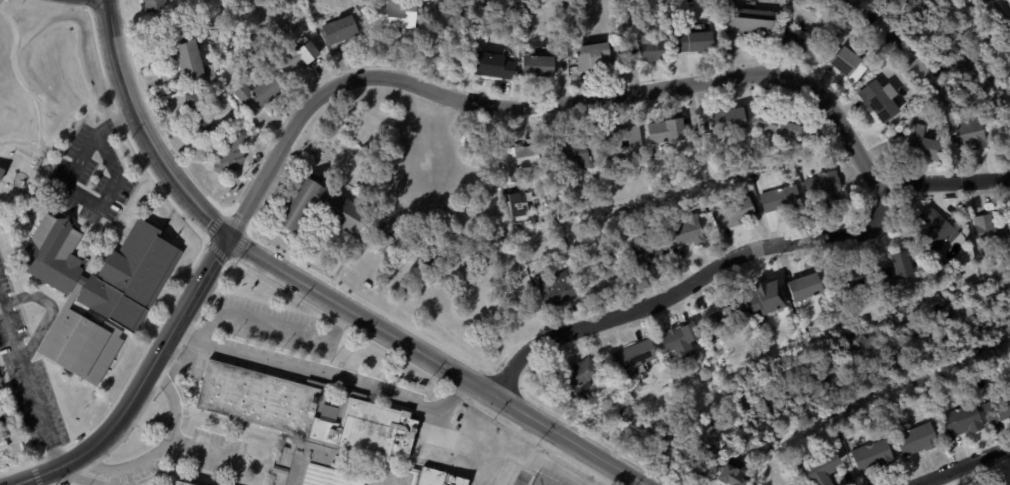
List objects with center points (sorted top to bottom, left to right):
building: (153, 5)
building: (396, 14)
building: (747, 22)
building: (340, 31)
building: (799, 41)
building: (693, 42)
building: (645, 50)
building: (589, 55)
building: (184, 59)
building: (296, 59)
building: (847, 64)
building: (492, 66)
building: (536, 67)
building: (210, 73)
building: (257, 94)
building: (878, 102)
road: (562, 103)
building: (196, 115)
building: (727, 120)
building: (776, 129)
road: (144, 131)
building: (665, 132)
building: (899, 132)
building: (940, 132)
building: (970, 133)
building: (922, 145)
building: (619, 146)
building: (231, 153)
building: (571, 154)
building: (902, 155)
building: (515, 162)
road: (866, 163)
building: (36, 164)
building: (1, 172)
road: (945, 182)
building: (825, 189)
road: (74, 190)
building: (564, 191)
road: (255, 195)
building: (557, 199)
building: (779, 199)
building: (517, 203)
building: (732, 213)
building: (331, 215)
building: (938, 230)
building: (991, 230)
building: (685, 233)
building: (643, 258)
building: (897, 269)
building: (600, 276)
building: (856, 281)
road: (691, 283)
building: (805, 288)
building: (557, 289)
building: (98, 292)
building: (763, 292)
building: (789, 306)
road: (49, 309)
building: (722, 321)
road: (272, 322)
parking lot: (277, 325)
building: (679, 341)
building: (633, 358)
road: (435, 362)
road: (324, 377)
building: (576, 381)
road: (143, 382)
road: (30, 383)
building: (999, 406)
building: (3, 407)
building: (627, 414)
building: (961, 421)
building: (305, 424)
building: (78, 439)
building: (916, 440)
road: (200, 449)
road: (1002, 451)
road: (159, 452)
parking lot: (216, 452)
building: (871, 457)
road: (958, 470)
building: (823, 472)
building: (735, 476)
building: (438, 478)
track: (522, 478)
building: (180, 483)
road: (24, 484)
building: (789, 484)
building: (1005, 484)

